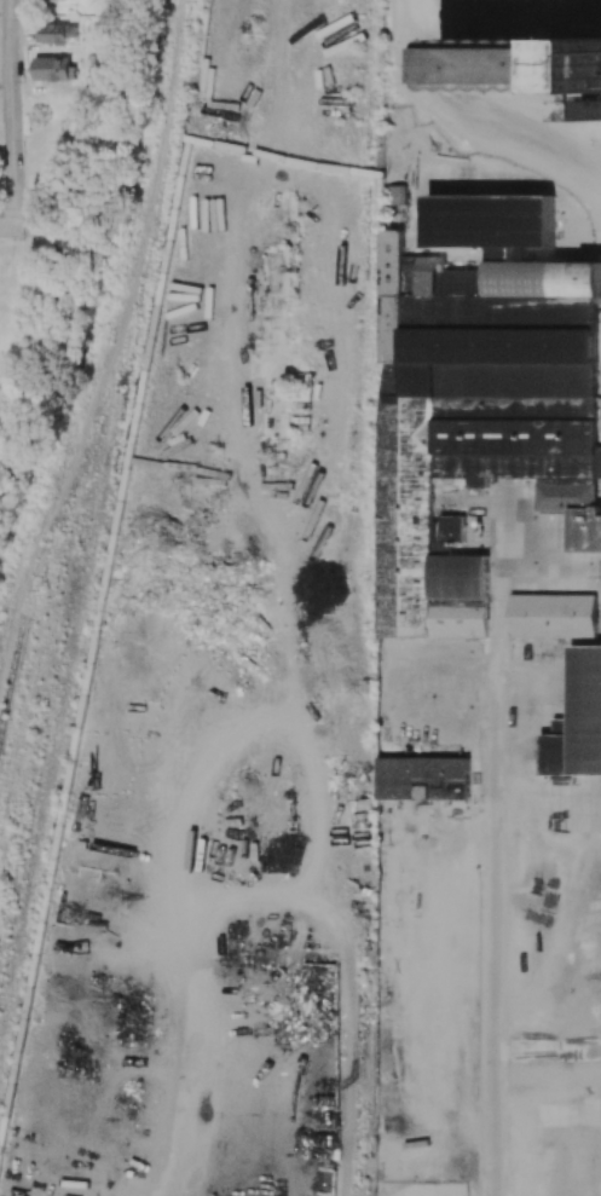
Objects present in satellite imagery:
building: (52, 0)
building: (57, 33)
building: (524, 64)
building: (56, 69)
road: (5, 87)
road: (11, 112)
building: (397, 195)
road: (16, 227)
building: (276, 389)
building: (473, 401)
building: (584, 528)
building: (551, 614)
road: (493, 664)
railway: (8, 674)
building: (577, 720)
building: (422, 778)
road: (495, 1013)
railway: (371, 1021)

